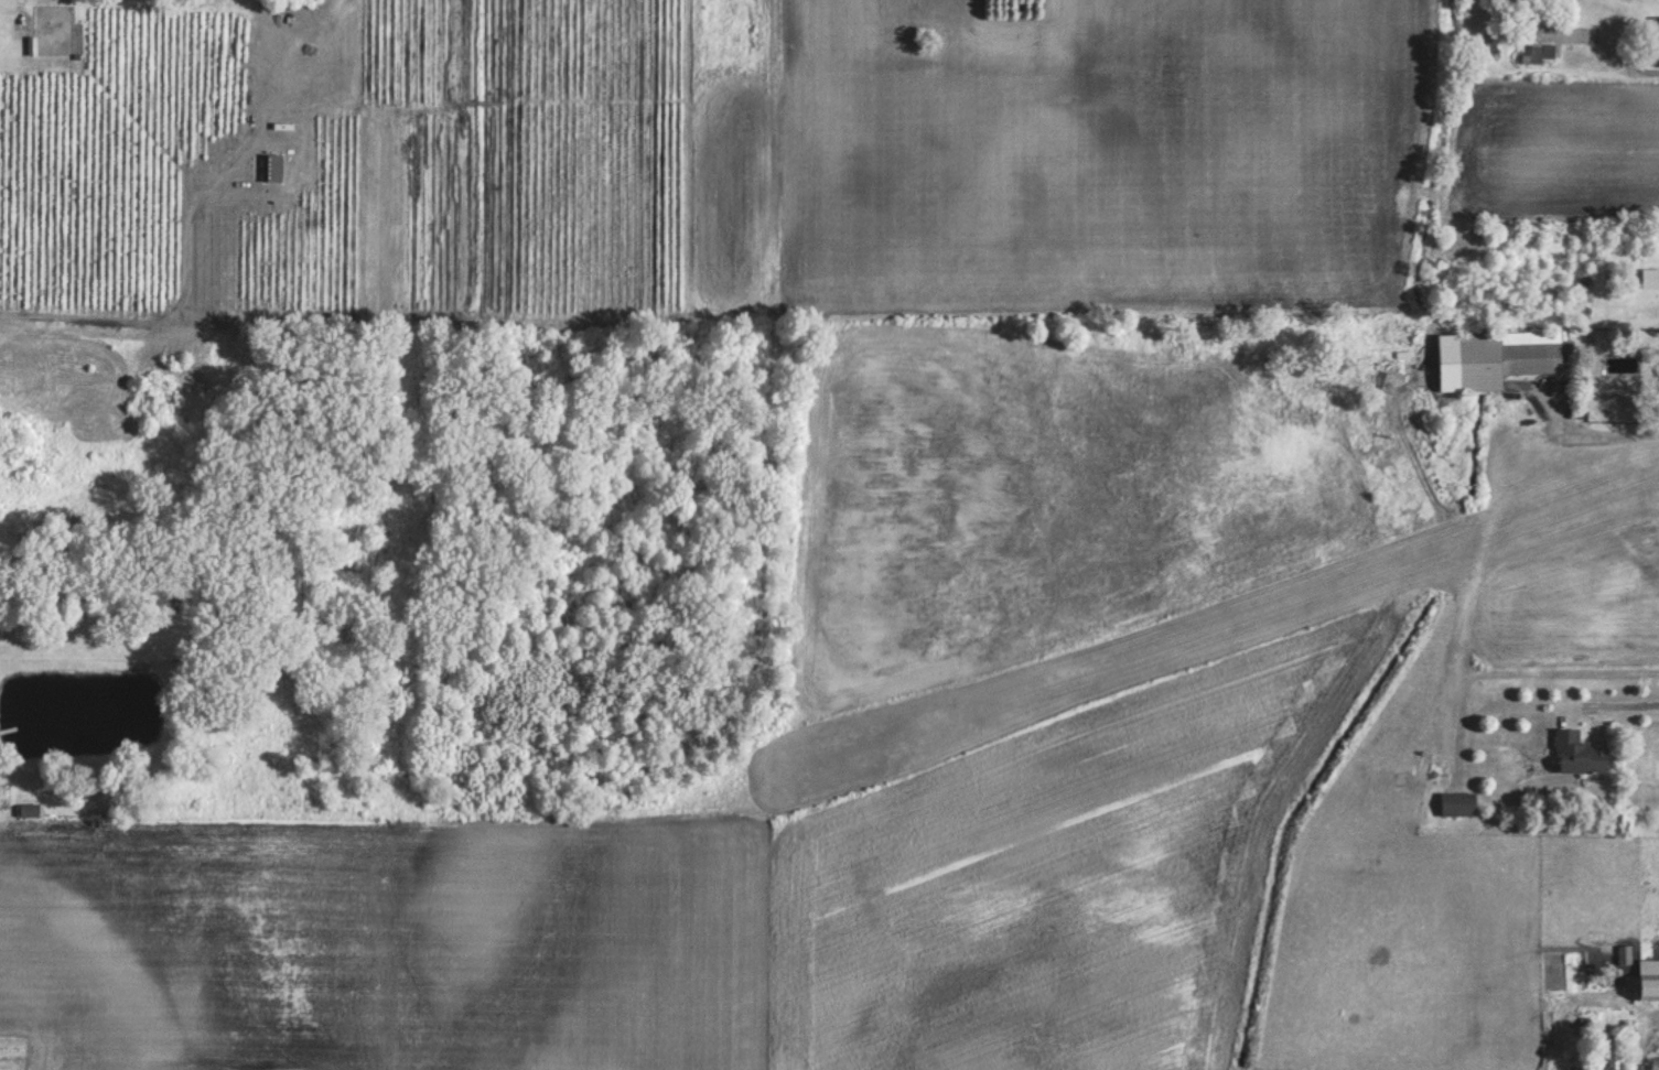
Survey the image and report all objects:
building: (1655, 29)
building: (1539, 52)
building: (1656, 55)
building: (272, 167)
building: (1507, 356)
road: (1590, 431)
road: (1613, 703)
building: (1580, 754)
building: (1459, 804)
building: (30, 812)
building: (1650, 979)
building: (1615, 1051)
building: (1656, 1062)

